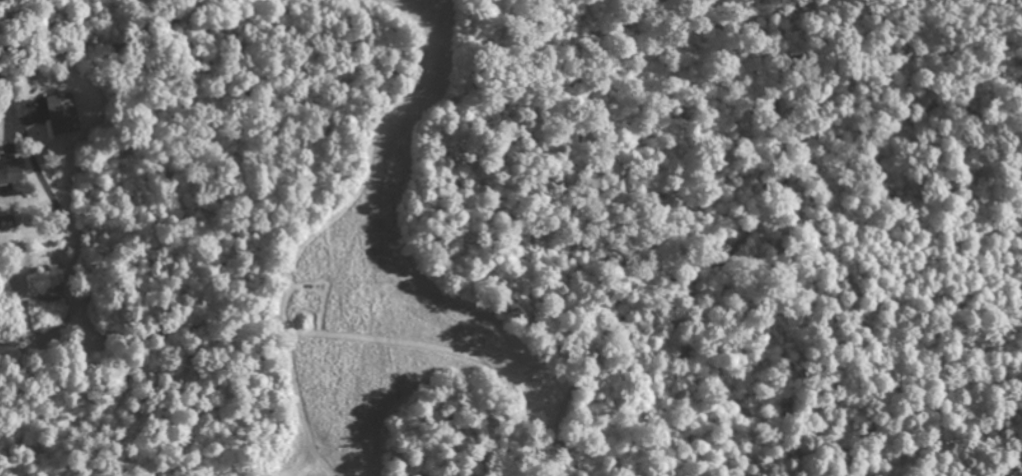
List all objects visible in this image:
building: (59, 112)
building: (9, 169)

